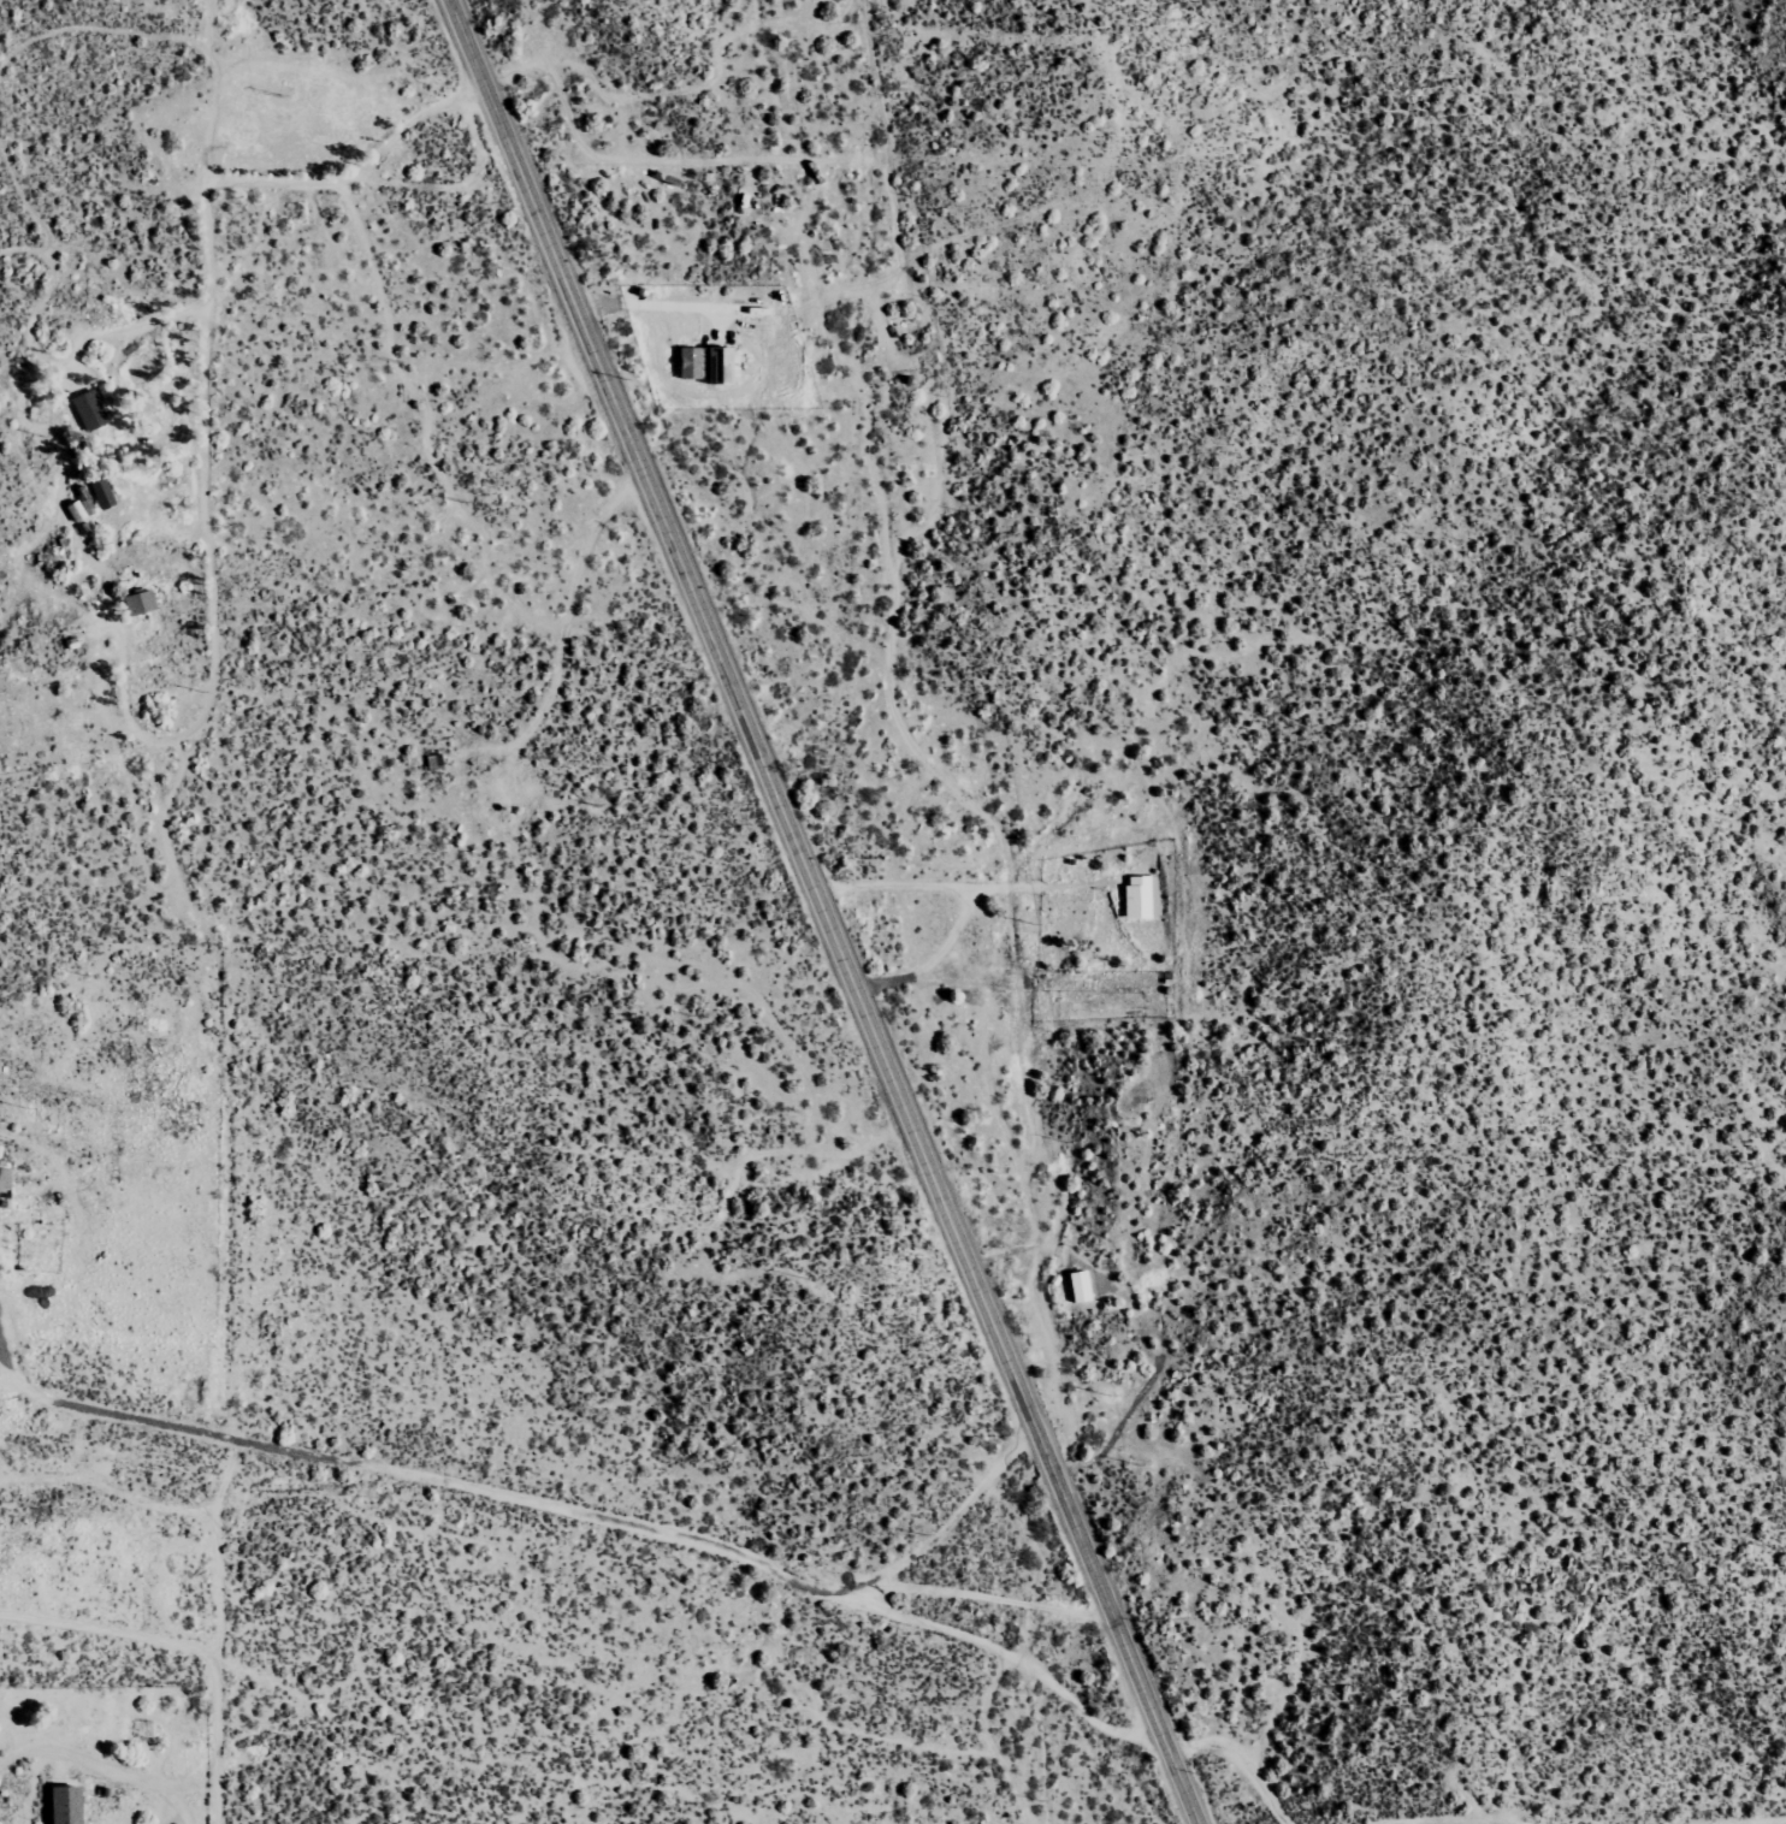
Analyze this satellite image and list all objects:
road: (207, 353)
building: (91, 410)
building: (141, 602)
building: (1143, 896)
road: (829, 908)
building: (6, 1182)
road: (236, 1230)
building: (1082, 1285)
road: (567, 1514)
road: (114, 1690)
road: (911, 1713)
building: (67, 1805)

